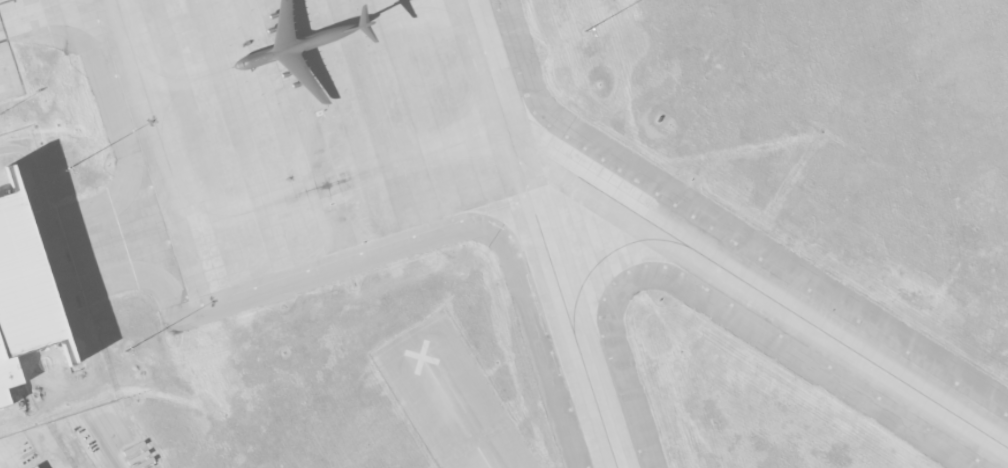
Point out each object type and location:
airport apron: (29, 35)
airport apron: (300, 135)
airport: (504, 234)
airport apron: (89, 247)
airport taxiway: (603, 256)
airport taxiway: (757, 290)
building: (24, 293)
airport taxiway: (574, 343)
building: (35, 467)

